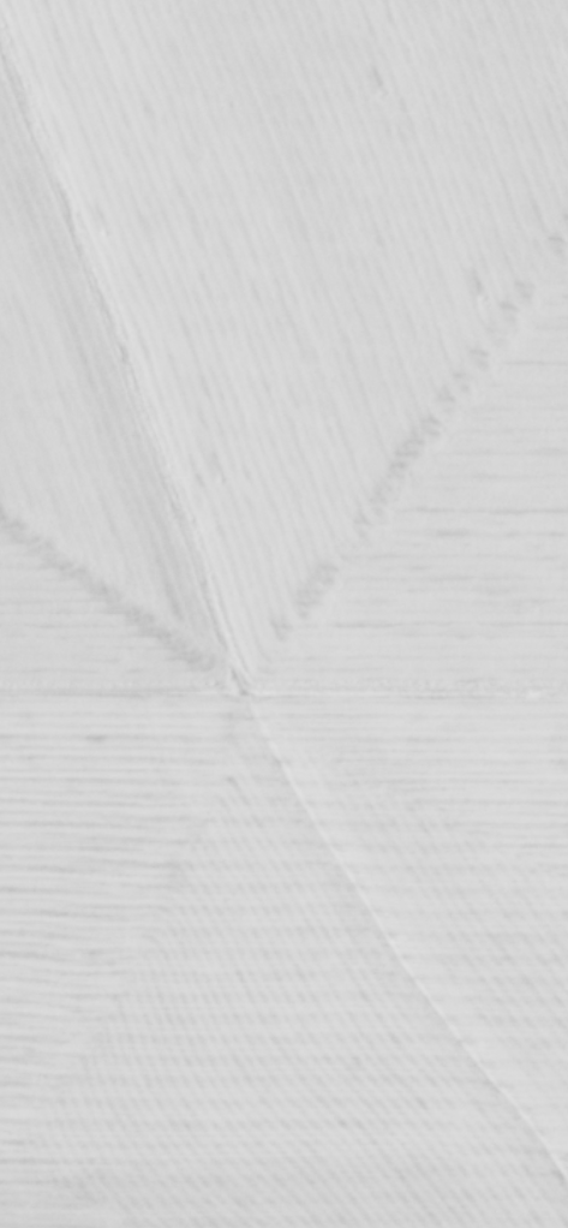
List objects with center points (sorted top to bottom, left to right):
crop: (283, 614)

